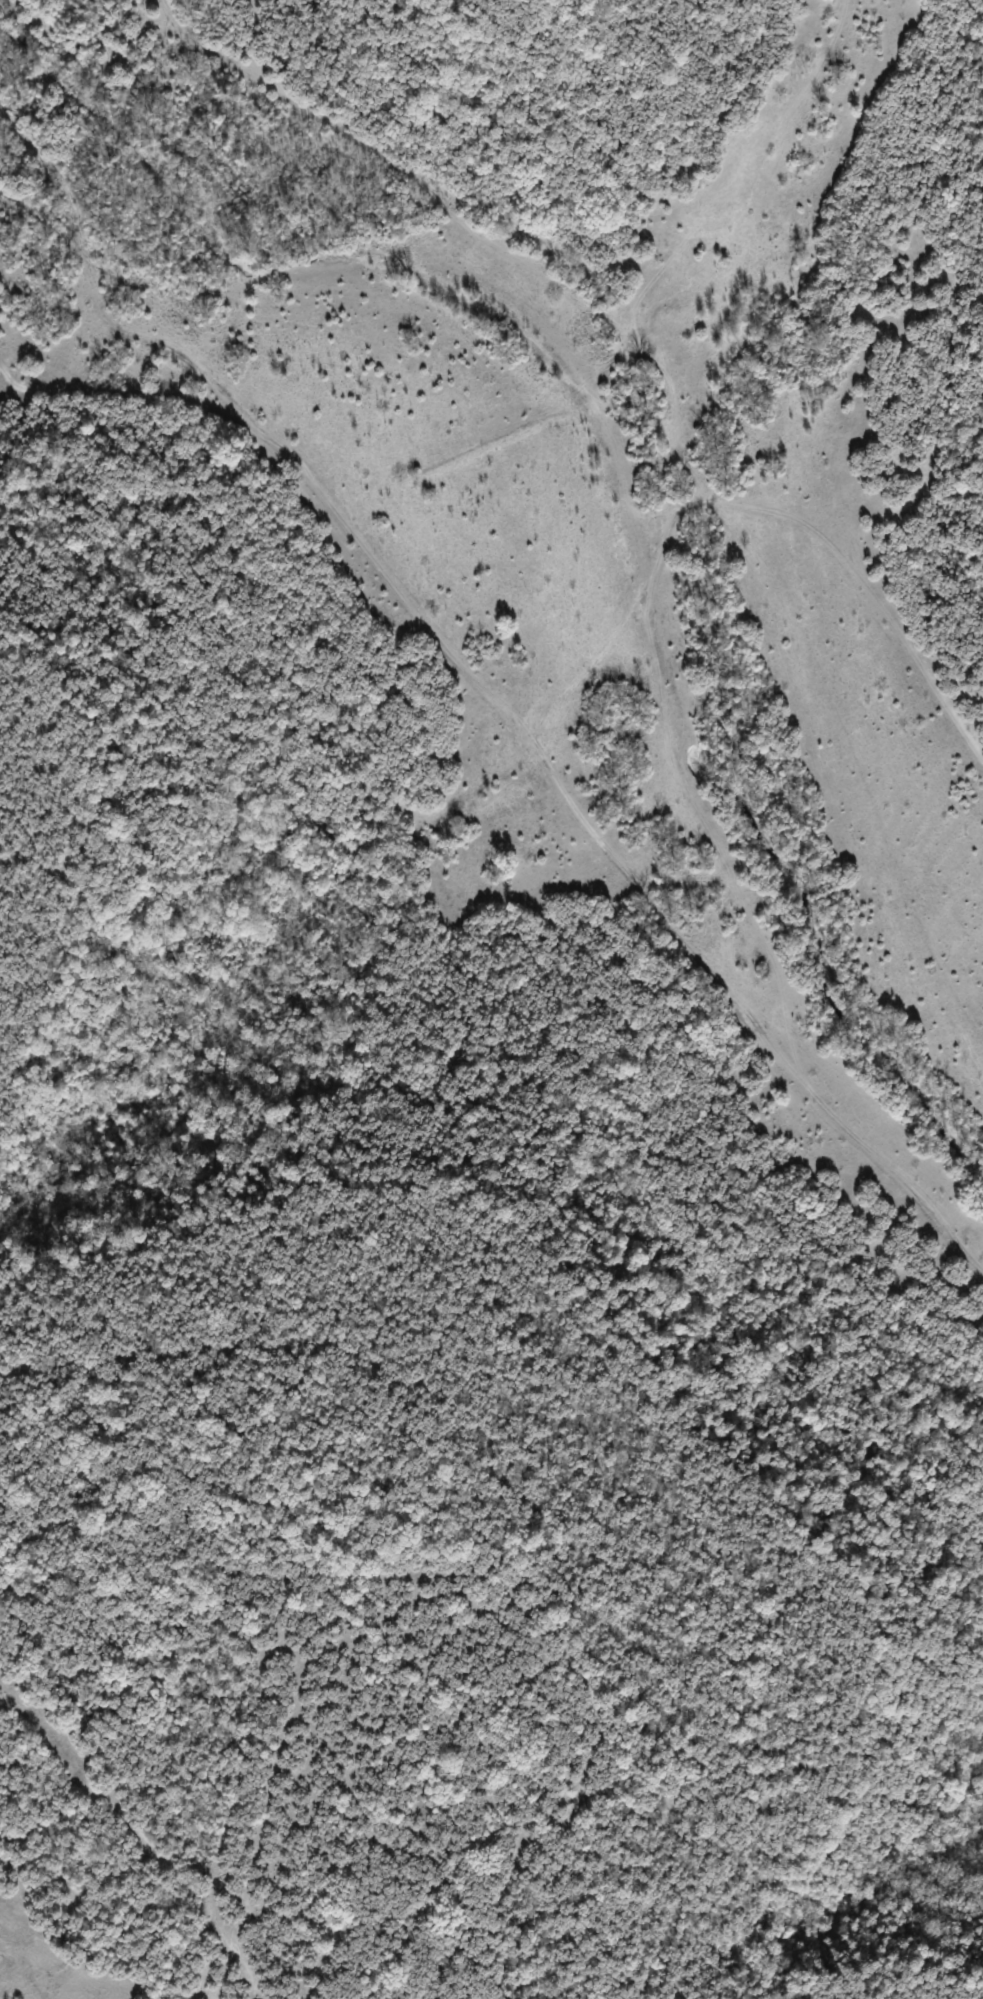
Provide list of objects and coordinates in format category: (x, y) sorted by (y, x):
road: (462, 759)

